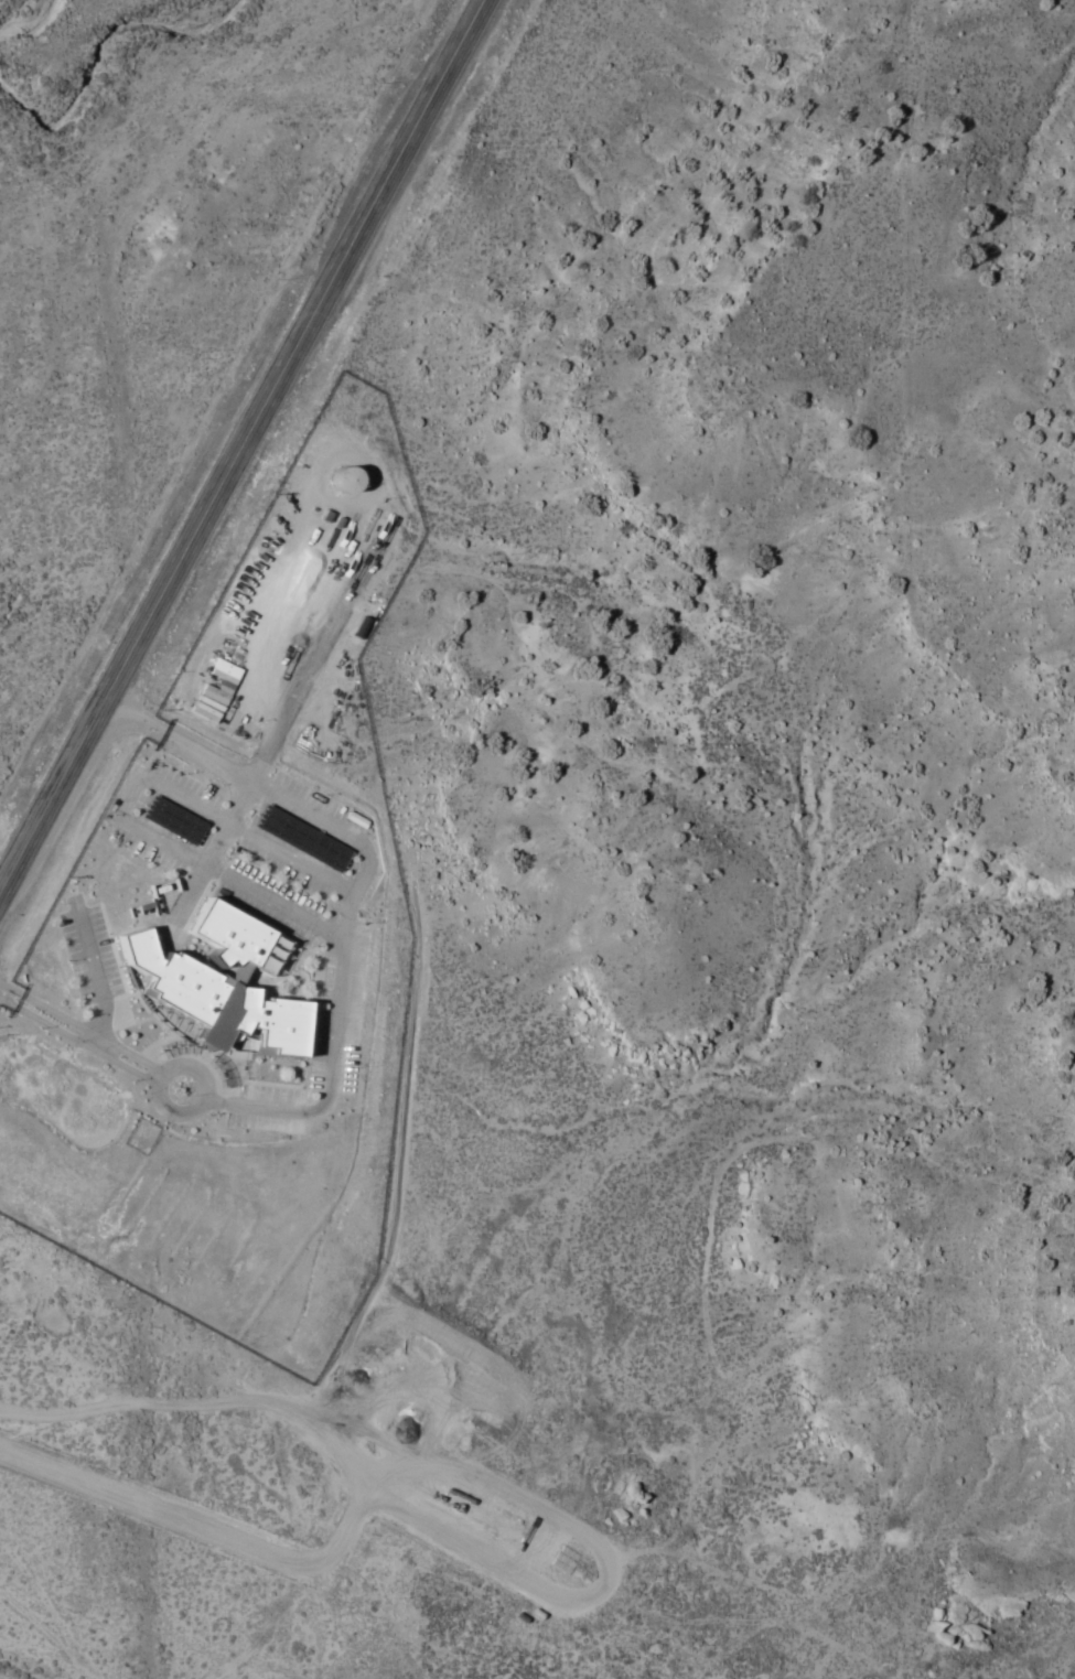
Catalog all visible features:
road: (243, 449)

